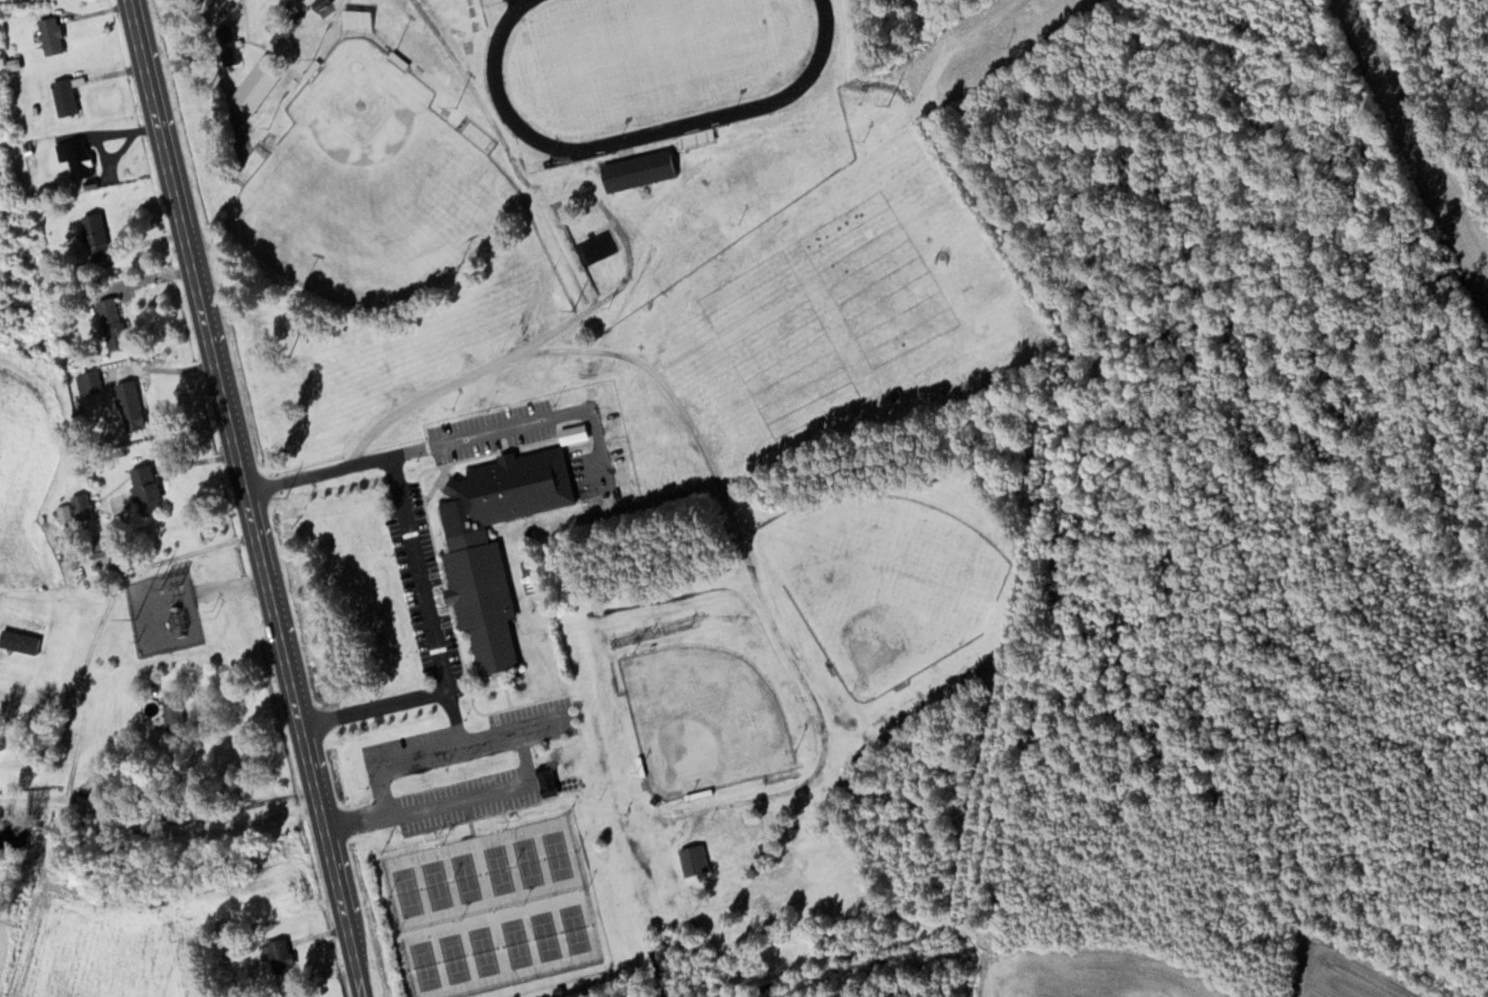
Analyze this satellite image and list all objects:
building: (285, 30)
building: (49, 34)
building: (231, 43)
park: (647, 58)
track: (647, 62)
building: (261, 81)
track: (795, 83)
building: (62, 96)
building: (73, 157)
building: (643, 170)
park: (369, 186)
road: (562, 193)
building: (91, 226)
building: (606, 266)
park: (822, 311)
building: (109, 317)
building: (87, 381)
building: (125, 397)
road: (457, 437)
road: (722, 488)
building: (143, 489)
road: (245, 498)
building: (62, 512)
building: (493, 542)
park: (886, 579)
building: (17, 641)
building: (170, 711)
park: (705, 717)
building: (545, 780)
building: (697, 860)
park: (490, 909)
building: (277, 955)

